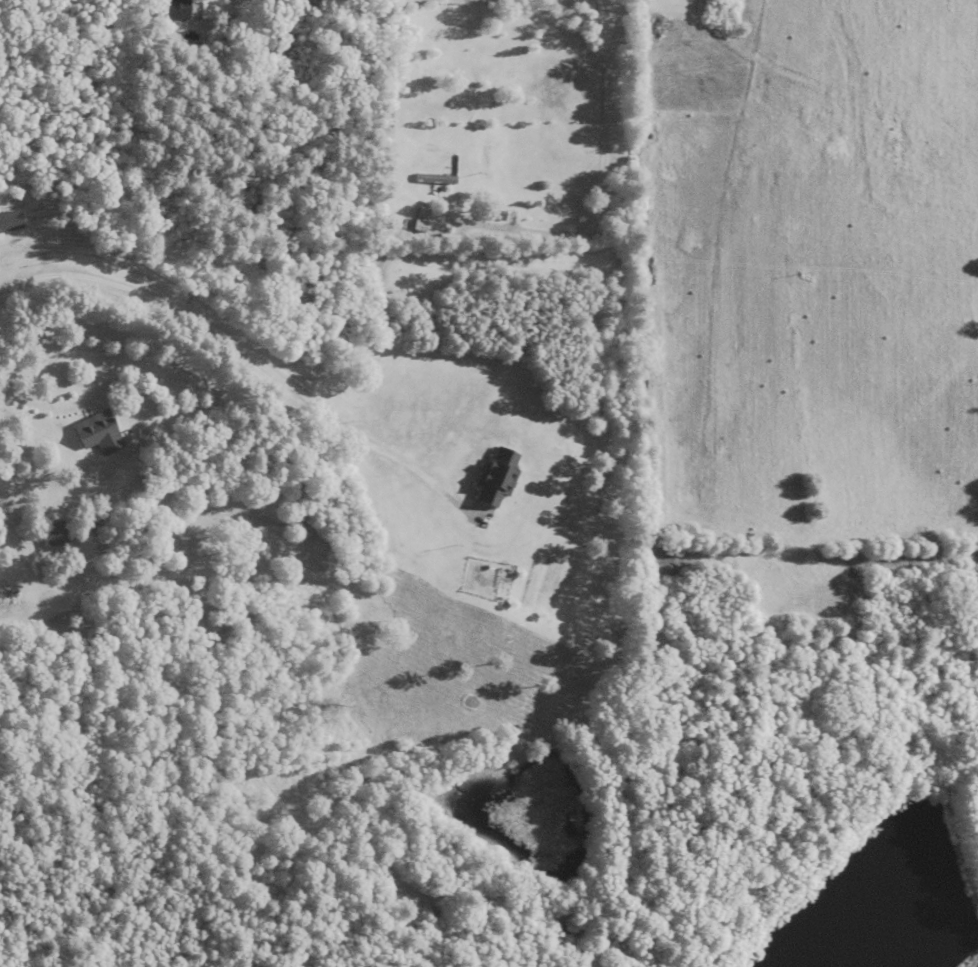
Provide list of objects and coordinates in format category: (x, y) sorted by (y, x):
building: (172, 9)
building: (436, 176)
building: (436, 181)
building: (424, 210)
building: (501, 217)
building: (10, 219)
road: (620, 323)
road: (248, 353)
road: (100, 377)
building: (97, 432)
building: (499, 475)
building: (54, 536)

